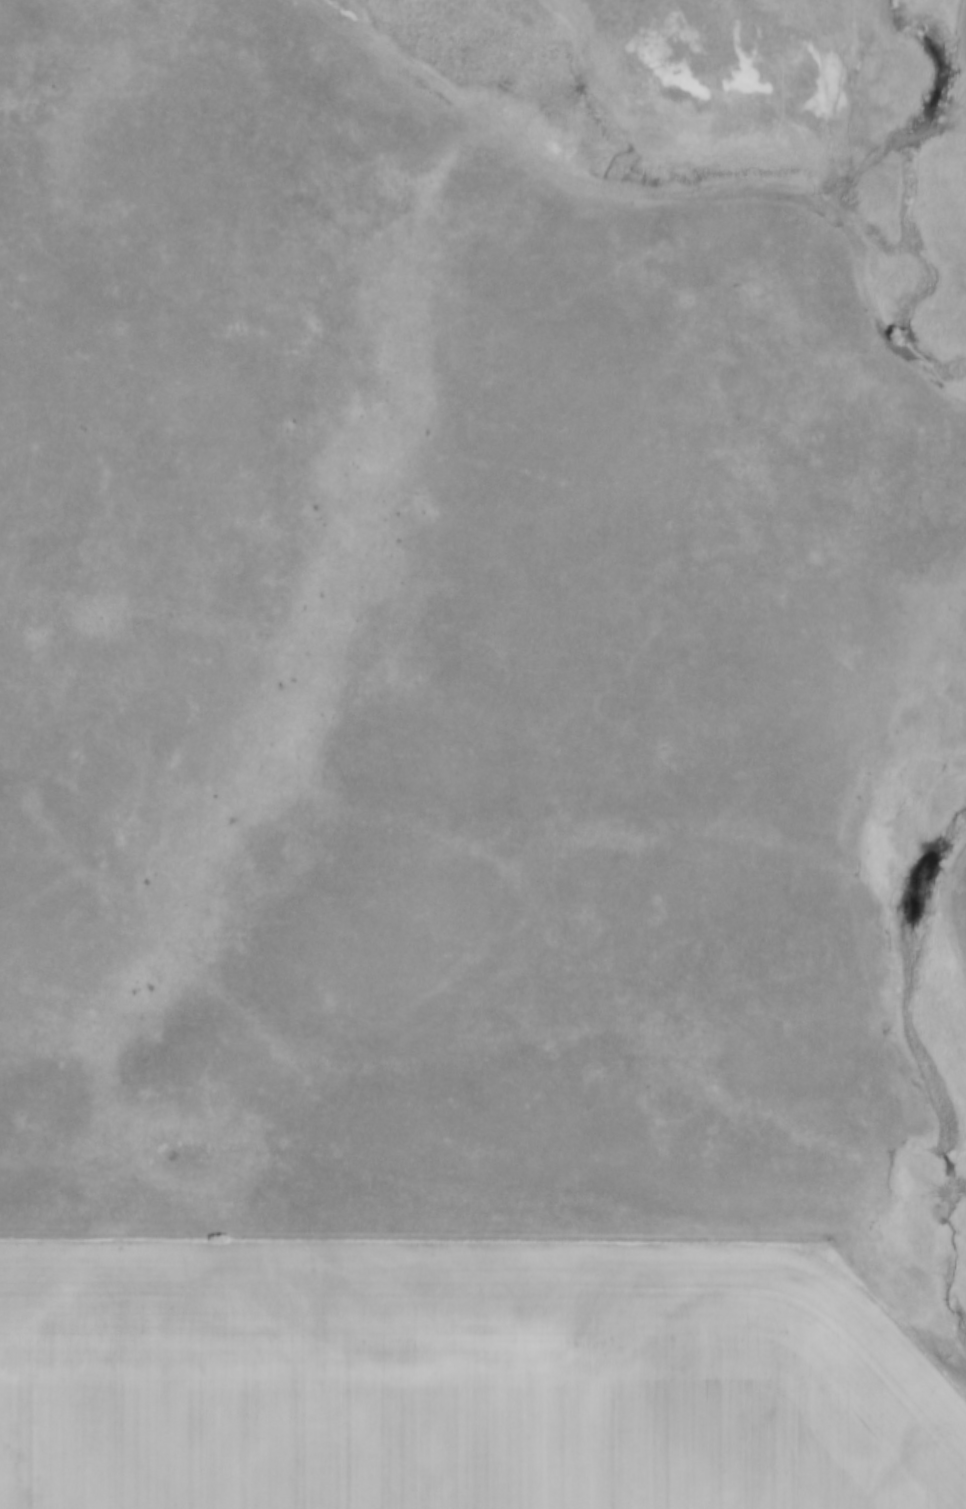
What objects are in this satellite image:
road: (398, 1240)

